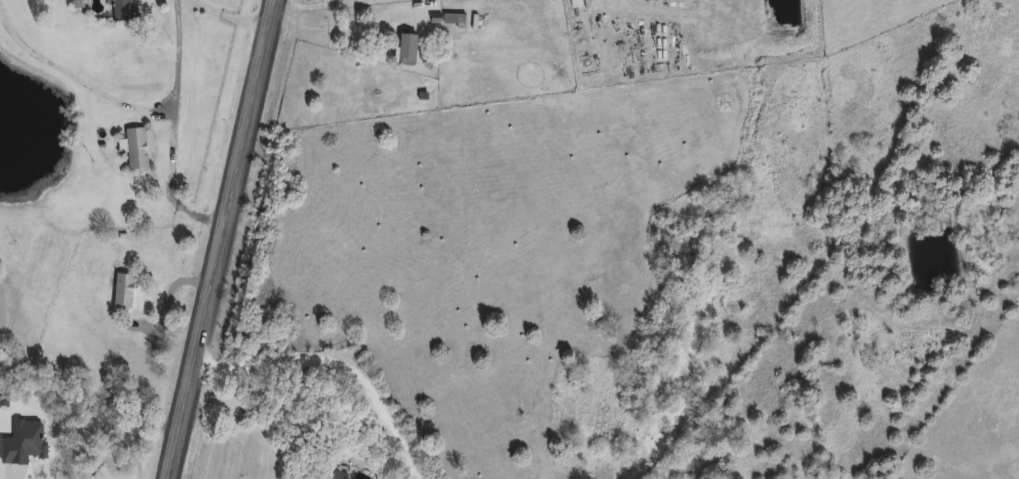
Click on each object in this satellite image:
road: (327, 5)
building: (120, 9)
building: (451, 16)
road: (232, 18)
building: (403, 46)
road: (76, 76)
road: (173, 130)
building: (132, 146)
road: (227, 239)
building: (120, 288)
road: (338, 363)
road: (285, 428)
building: (329, 475)

